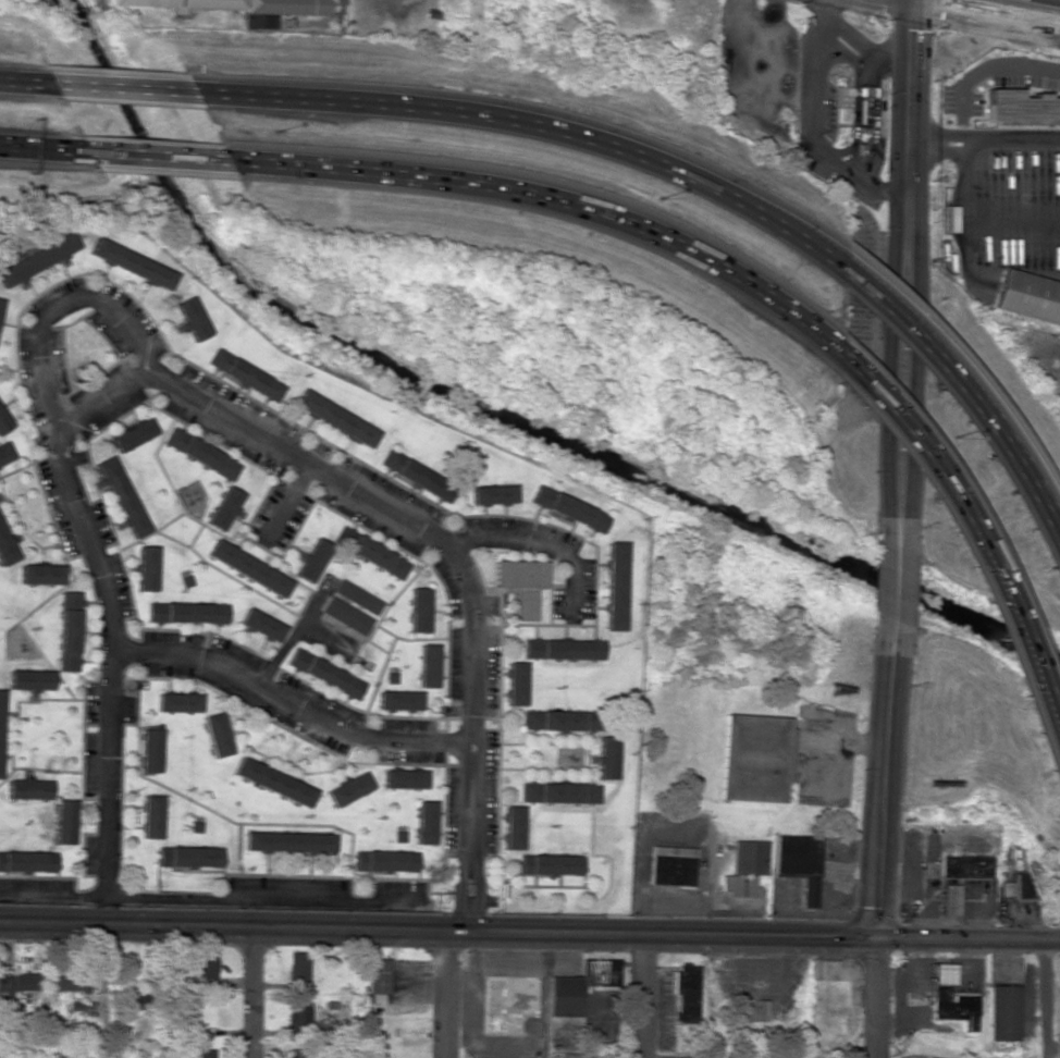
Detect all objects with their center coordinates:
building: (247, 8)
road: (964, 17)
road: (27, 83)
road: (123, 89)
building: (862, 104)
building: (1020, 108)
road: (527, 127)
road: (42, 149)
road: (153, 157)
road: (546, 199)
building: (947, 219)
road: (905, 257)
building: (37, 259)
building: (131, 263)
building: (1027, 297)
building: (0, 302)
road: (60, 307)
building: (190, 319)
building: (245, 376)
road: (964, 386)
road: (207, 403)
river: (498, 408)
building: (335, 419)
building: (3, 422)
building: (133, 435)
building: (4, 454)
building: (201, 454)
building: (417, 476)
building: (492, 494)
building: (121, 497)
building: (224, 508)
building: (568, 508)
road: (973, 531)
road: (538, 545)
building: (5, 550)
building: (371, 552)
building: (312, 561)
building: (146, 568)
building: (248, 568)
building: (40, 575)
building: (521, 583)
building: (615, 586)
road: (897, 586)
building: (357, 596)
building: (419, 611)
building: (187, 613)
building: (346, 615)
building: (260, 625)
building: (69, 631)
building: (563, 649)
building: (428, 665)
building: (325, 674)
building: (30, 680)
building: (516, 684)
building: (398, 700)
building: (177, 702)
road: (291, 704)
building: (559, 721)
building: (0, 726)
building: (217, 735)
building: (150, 751)
building: (606, 758)
building: (755, 758)
building: (404, 779)
building: (273, 782)
building: (27, 789)
building: (347, 789)
building: (559, 792)
road: (885, 797)
building: (151, 816)
building: (63, 822)
building: (424, 823)
building: (513, 827)
building: (287, 841)
building: (188, 857)
building: (27, 861)
building: (385, 861)
building: (798, 862)
building: (551, 864)
building: (670, 866)
building: (965, 866)
building: (744, 868)
building: (949, 899)
road: (437, 930)
road: (967, 939)
building: (202, 967)
building: (297, 970)
building: (597, 972)
building: (375, 975)
building: (20, 983)
building: (71, 983)
road: (252, 992)
building: (685, 993)
road: (447, 994)
building: (564, 996)
road: (644, 996)
road: (875, 998)
building: (951, 998)
road: (1046, 999)
building: (132, 1000)
building: (507, 1001)
building: (748, 1010)
building: (1003, 1012)
building: (295, 1020)
building: (326, 1023)
building: (202, 1053)
building: (299, 1054)
building: (584, 1055)

